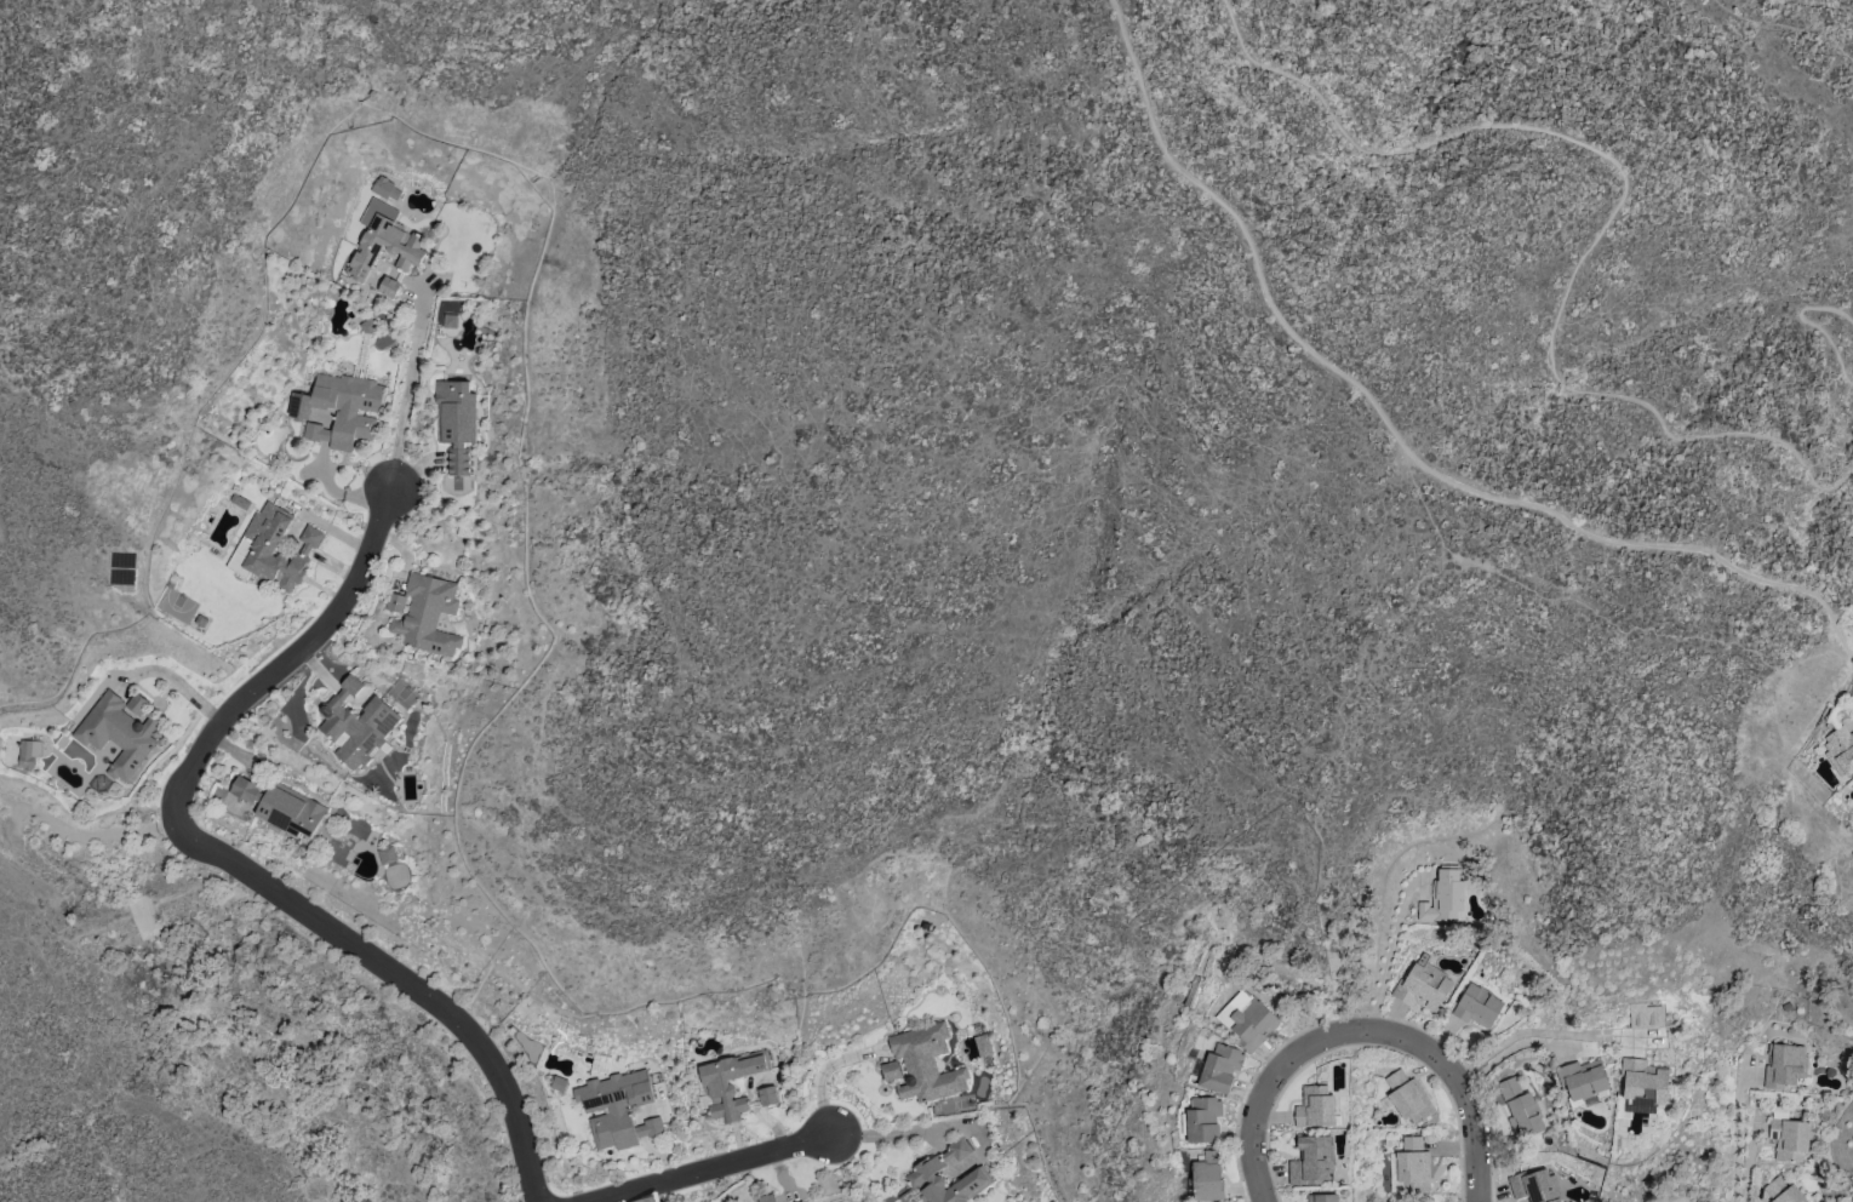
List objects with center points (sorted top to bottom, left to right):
road: (1784, 28)
road: (1615, 207)
building: (376, 250)
building: (388, 287)
building: (448, 320)
road: (1806, 325)
road: (410, 380)
building: (344, 410)
road: (1391, 434)
building: (271, 549)
building: (396, 602)
building: (428, 614)
road: (285, 656)
building: (136, 704)
building: (356, 721)
building: (116, 733)
building: (1840, 749)
building: (28, 752)
building: (1852, 782)
building: (281, 806)
road: (84, 835)
building: (387, 854)
building: (1447, 894)
road: (1386, 952)
road: (401, 977)
building: (1423, 986)
building: (1477, 1006)
building: (1645, 1015)
building: (1249, 1020)
road: (1369, 1031)
road: (1545, 1036)
building: (925, 1063)
building: (1784, 1065)
building: (1222, 1068)
road: (822, 1069)
building: (891, 1070)
building: (559, 1083)
building: (728, 1083)
building: (1641, 1087)
building: (767, 1095)
building: (1407, 1095)
building: (614, 1106)
building: (1315, 1106)
building: (1520, 1109)
building: (1205, 1118)
building: (648, 1127)
road: (1738, 1138)
building: (1790, 1138)
building: (1312, 1161)
building: (1409, 1166)
road: (703, 1167)
building: (922, 1172)
building: (1209, 1177)
building: (1534, 1185)
building: (1781, 1191)
building: (767, 1197)
building: (1323, 1197)
building: (802, 1201)

